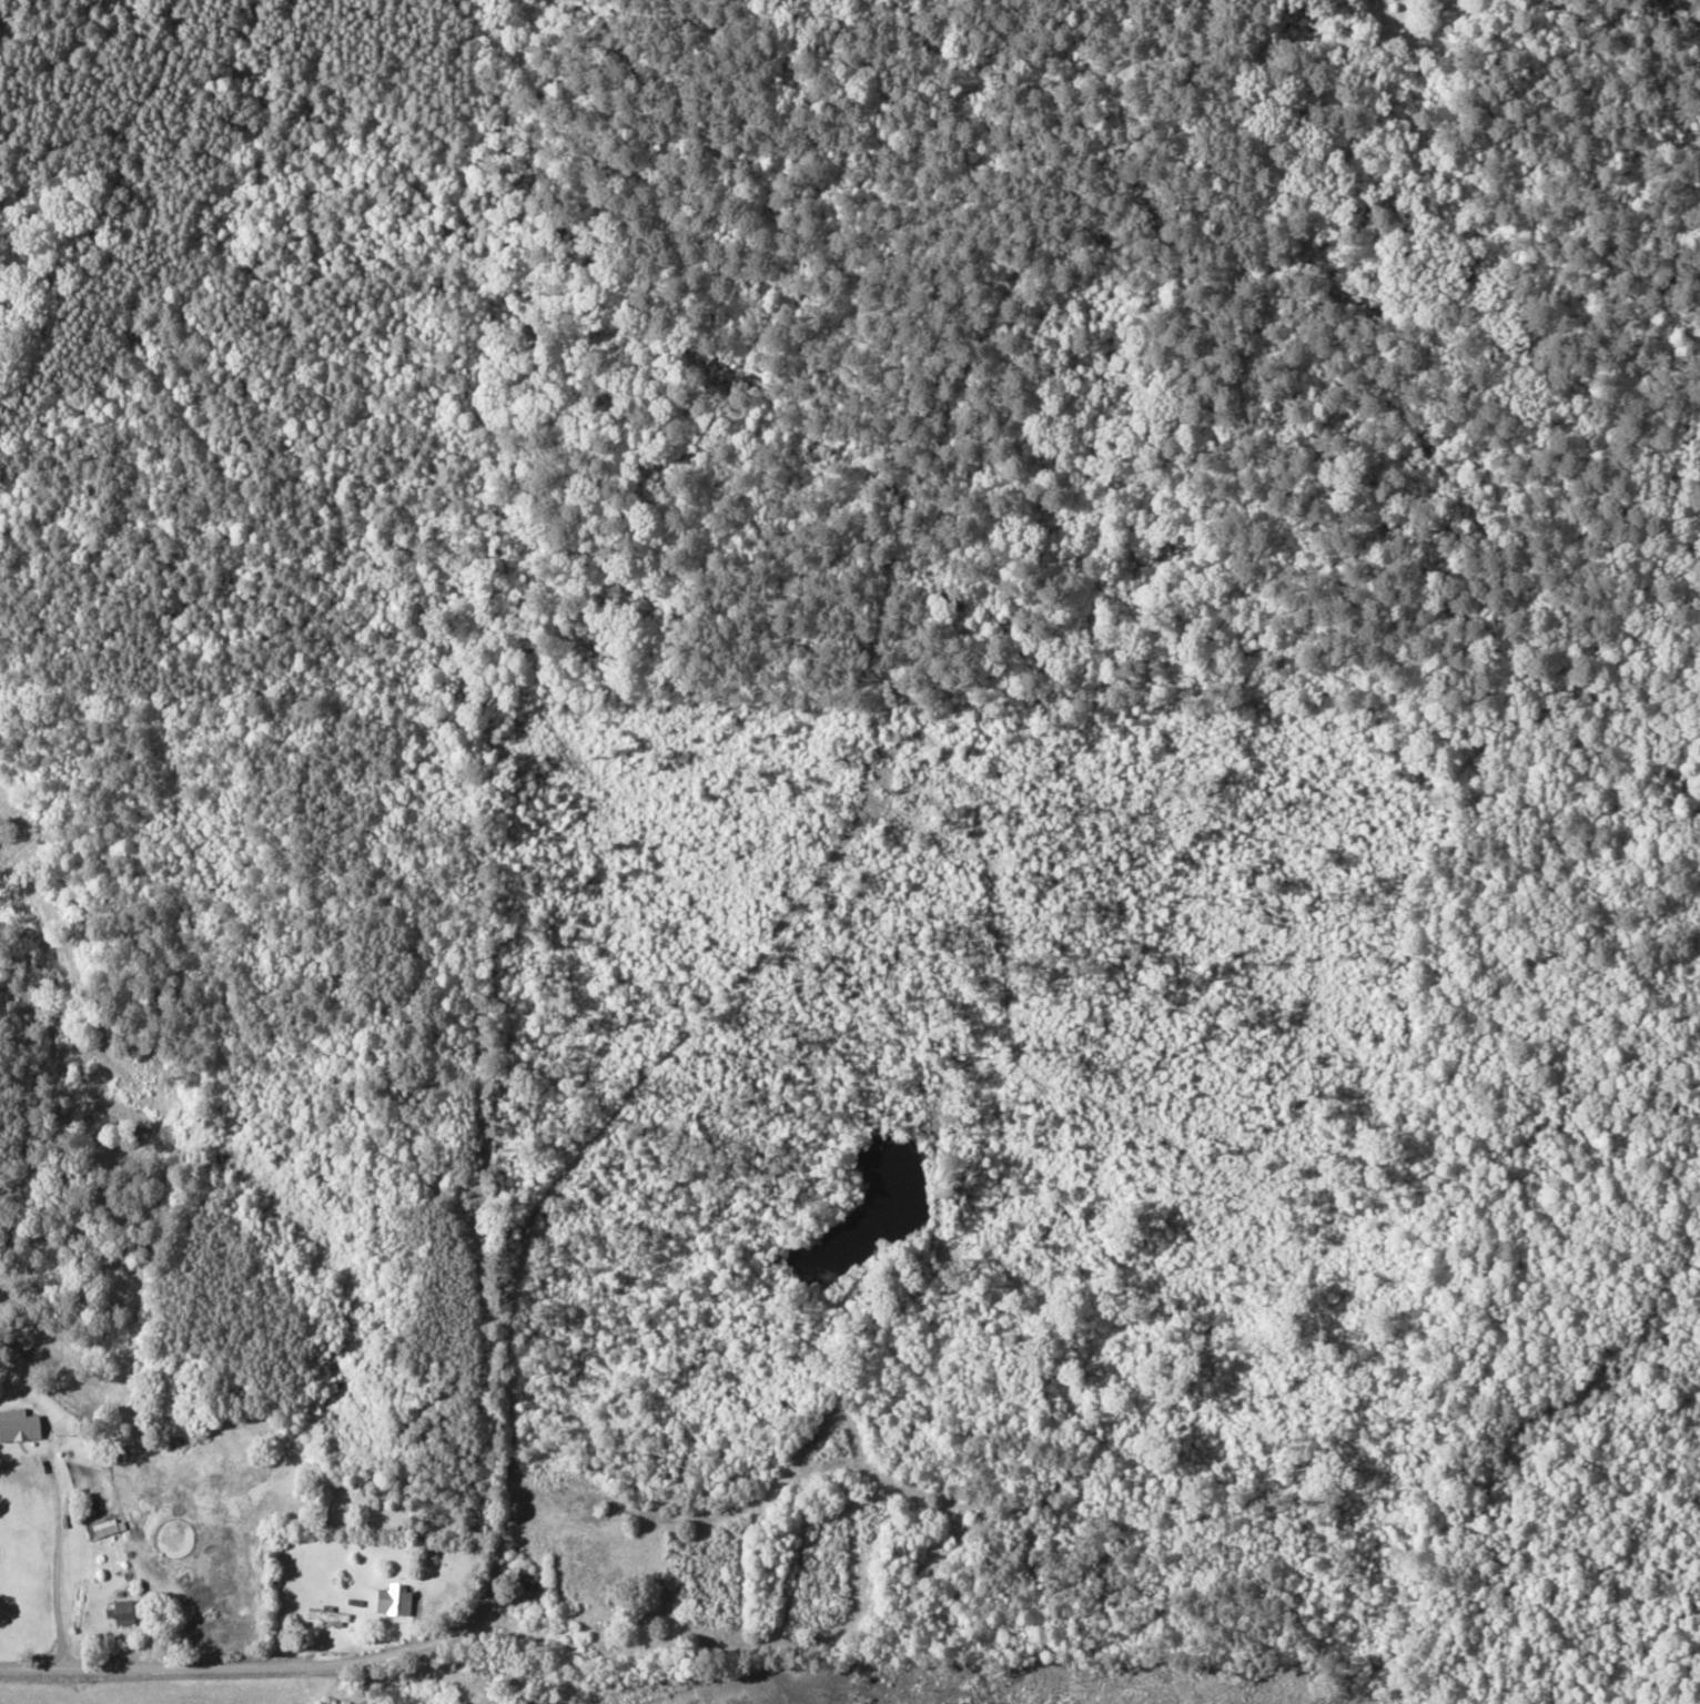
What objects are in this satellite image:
building: (13, 1424)
building: (520, 1575)
building: (393, 1599)
building: (122, 1611)
building: (327, 1613)
building: (597, 1635)
road: (414, 1660)

